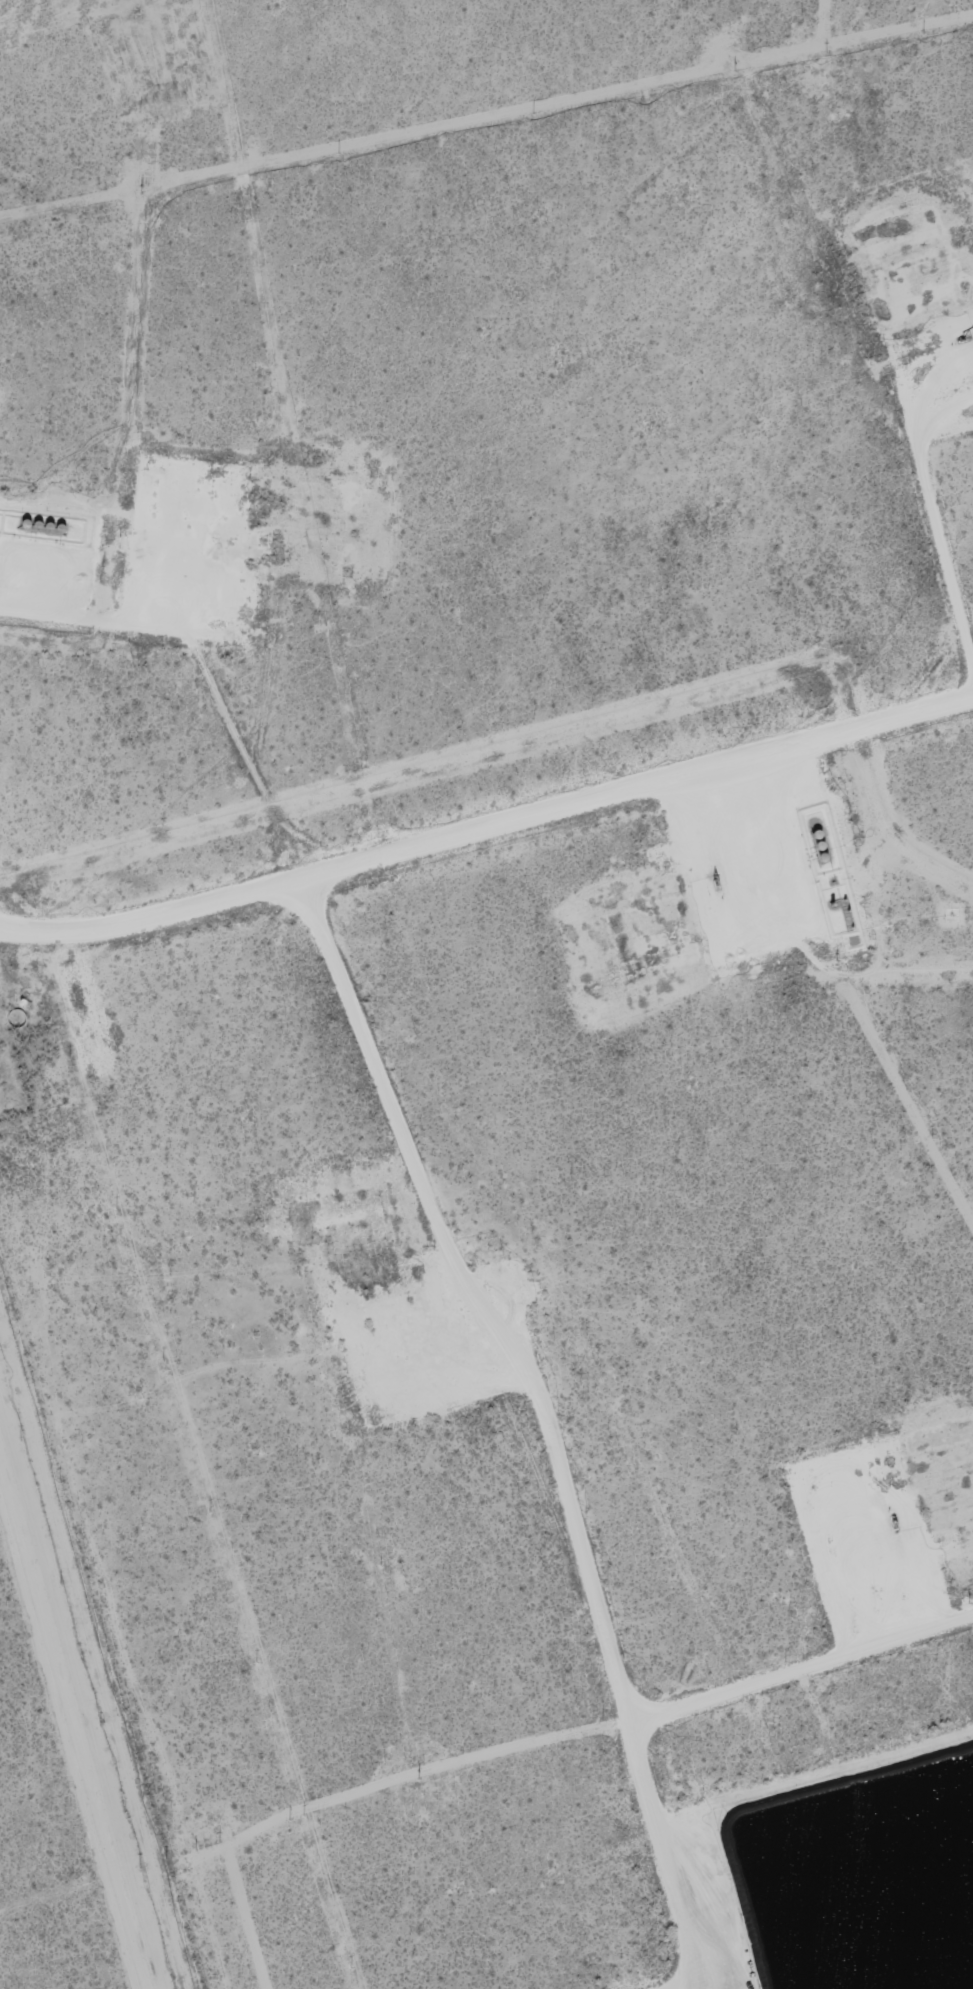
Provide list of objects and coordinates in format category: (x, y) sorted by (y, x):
road: (488, 804)
petroleum well: (366, 1325)
road: (552, 1446)
petroleum well: (896, 1524)

